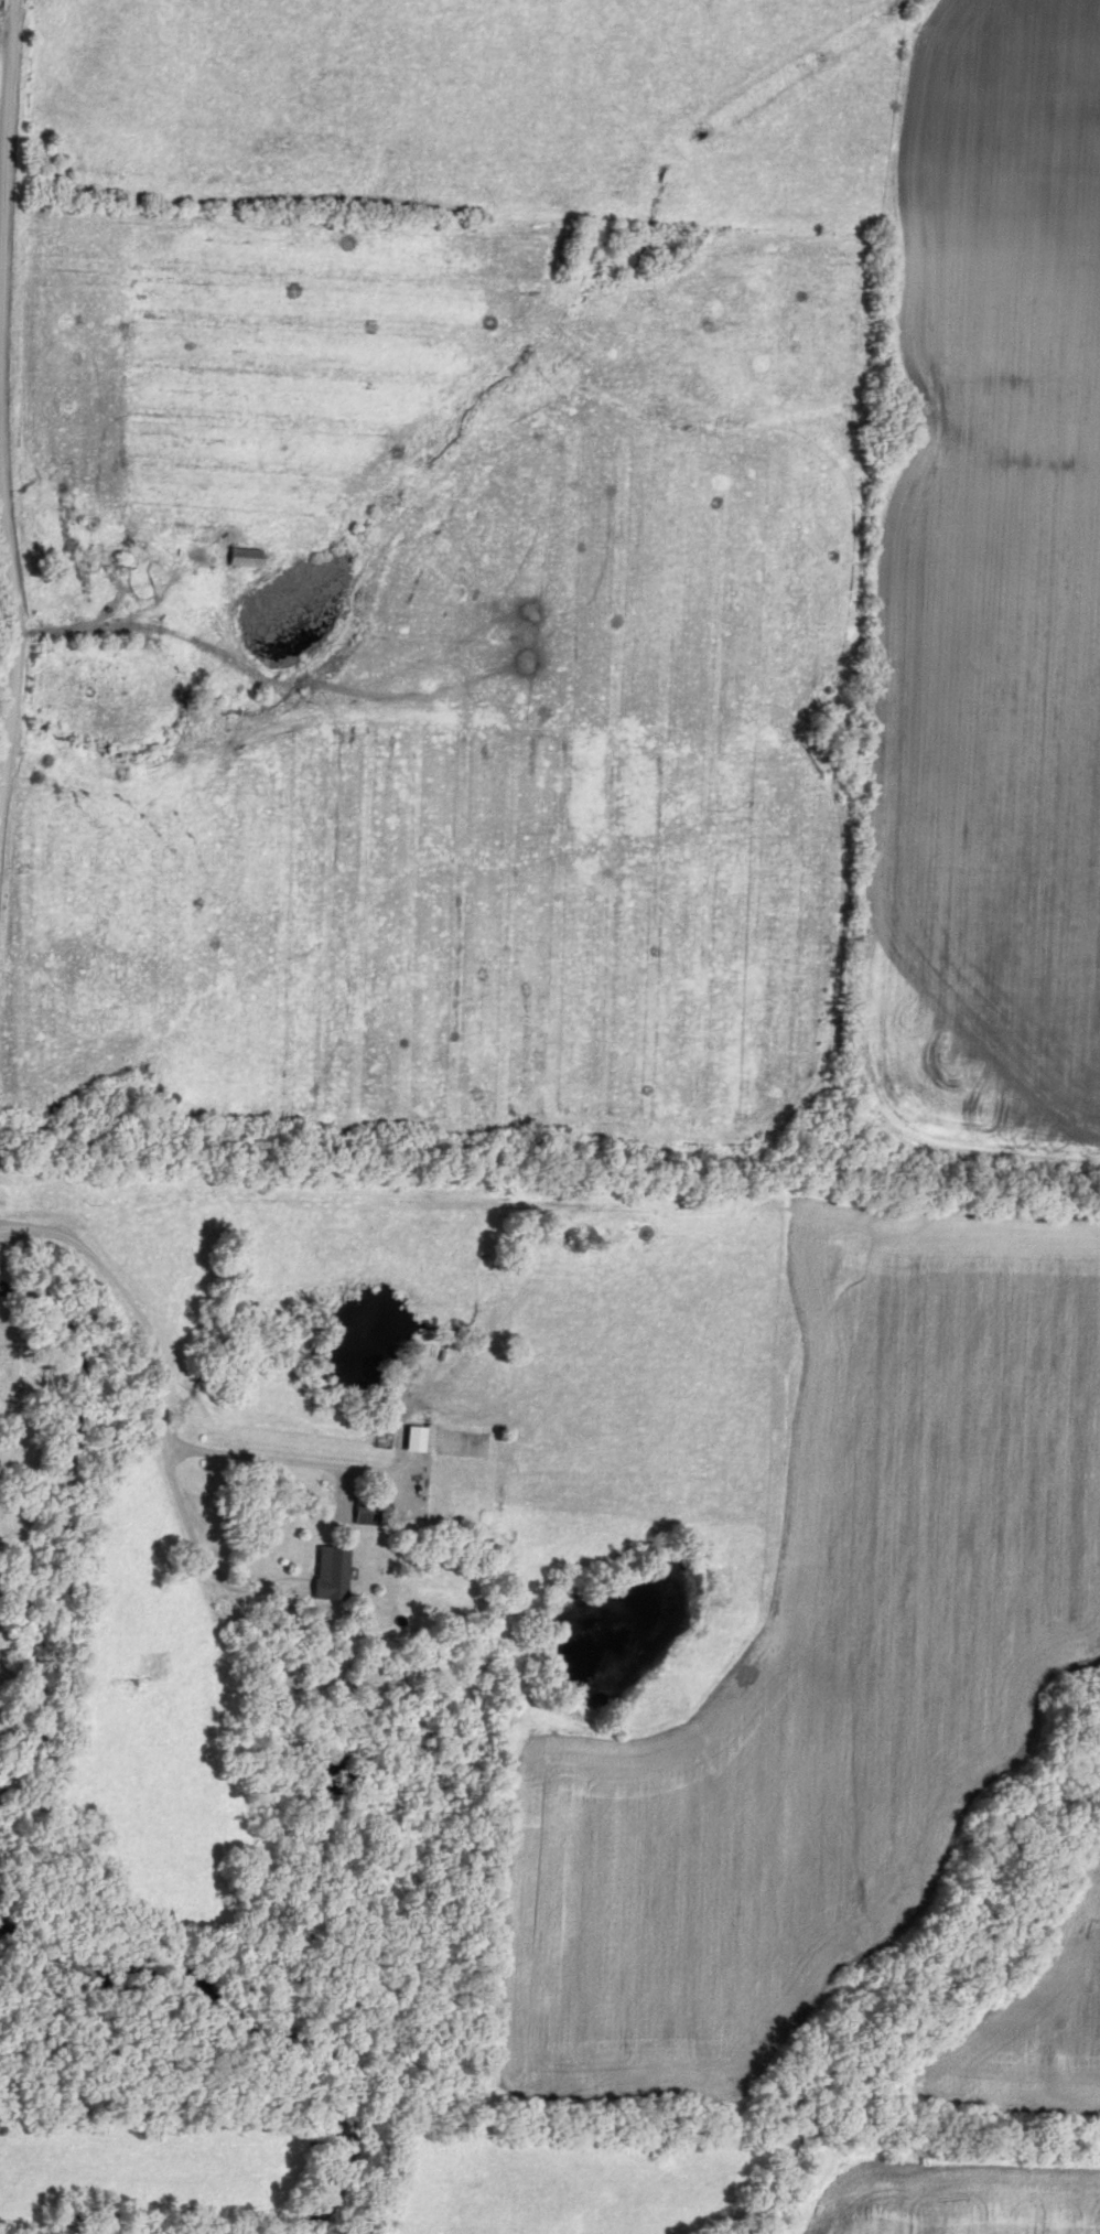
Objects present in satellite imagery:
road: (2, 406)
building: (244, 560)
road: (101, 616)
road: (161, 1399)
building: (366, 1512)
road: (192, 1549)
building: (331, 1575)

